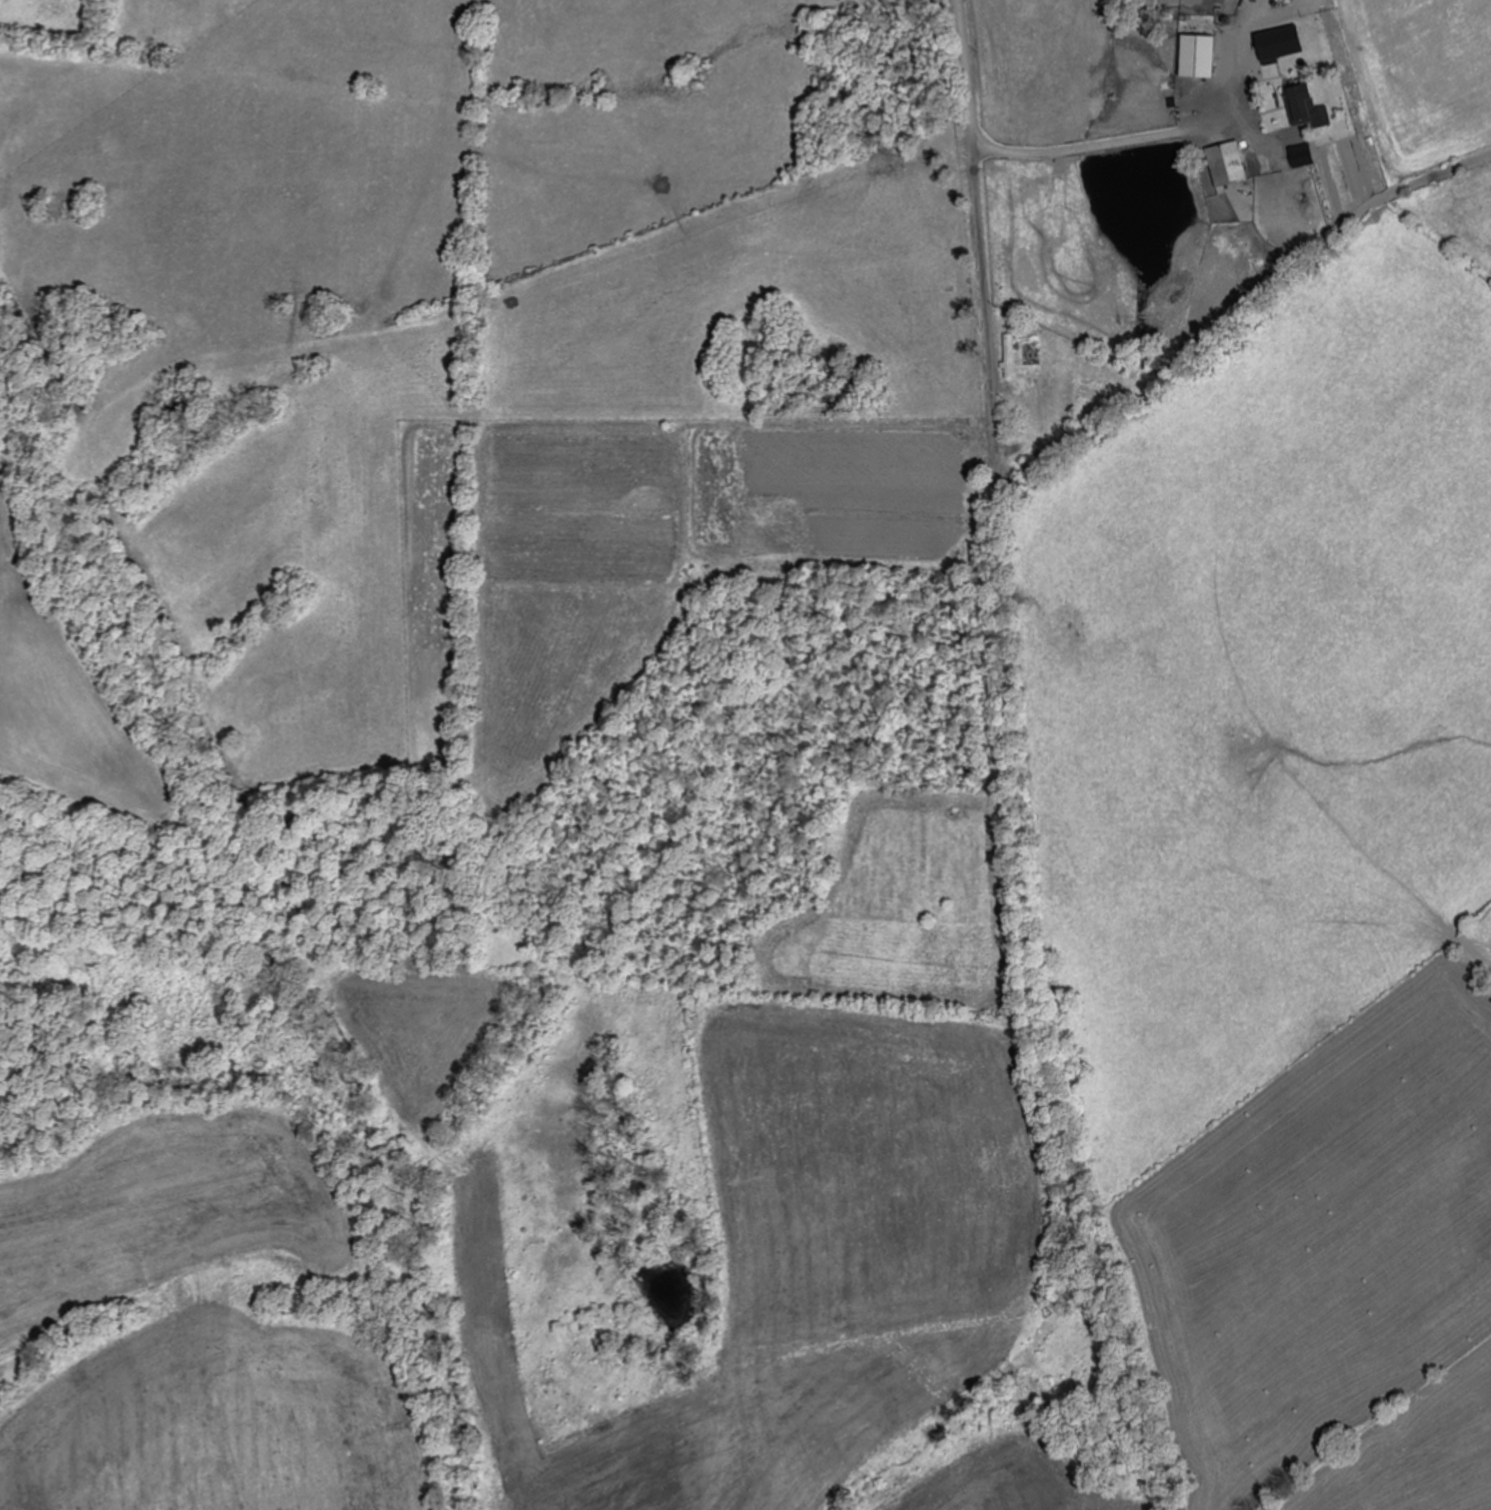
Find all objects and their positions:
building: (1201, 56)
building: (1308, 107)
building: (1229, 164)
road: (977, 216)
building: (1012, 355)

